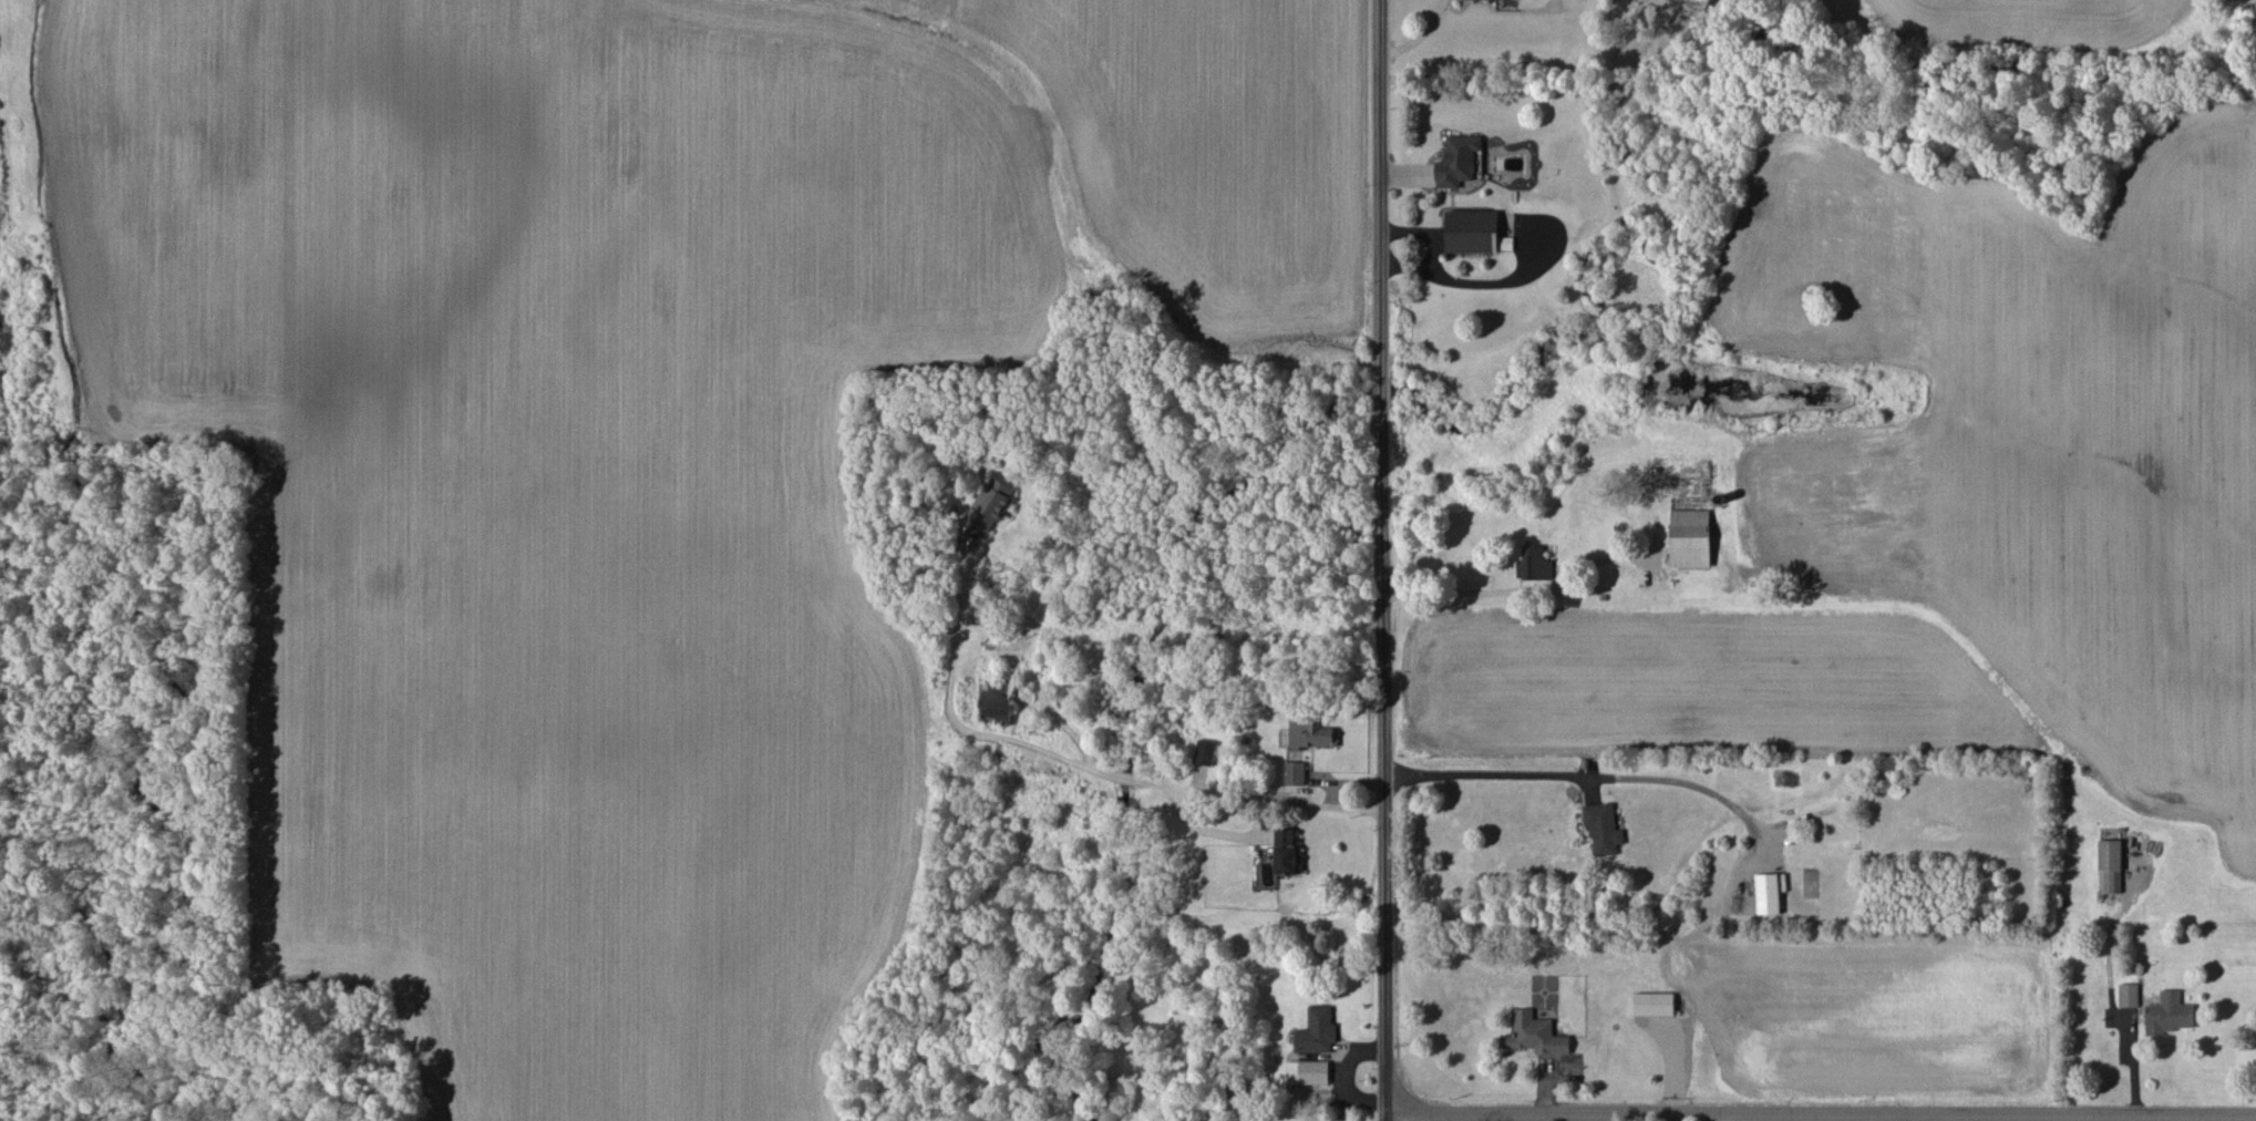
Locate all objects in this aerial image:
road: (1419, 37)
building: (1456, 161)
building: (1471, 232)
building: (990, 504)
building: (1689, 538)
road: (1381, 559)
building: (1533, 564)
road: (1466, 590)
building: (995, 703)
building: (1310, 733)
building: (1204, 752)
road: (1086, 765)
building: (1294, 773)
road: (1578, 774)
building: (1601, 829)
building: (1287, 853)
building: (2109, 866)
building: (1766, 894)
building: (2128, 995)
building: (1654, 1004)
building: (2167, 1014)
building: (1316, 1031)
building: (1535, 1035)
building: (1307, 1072)
road: (1820, 1111)
road: (2235, 1118)

